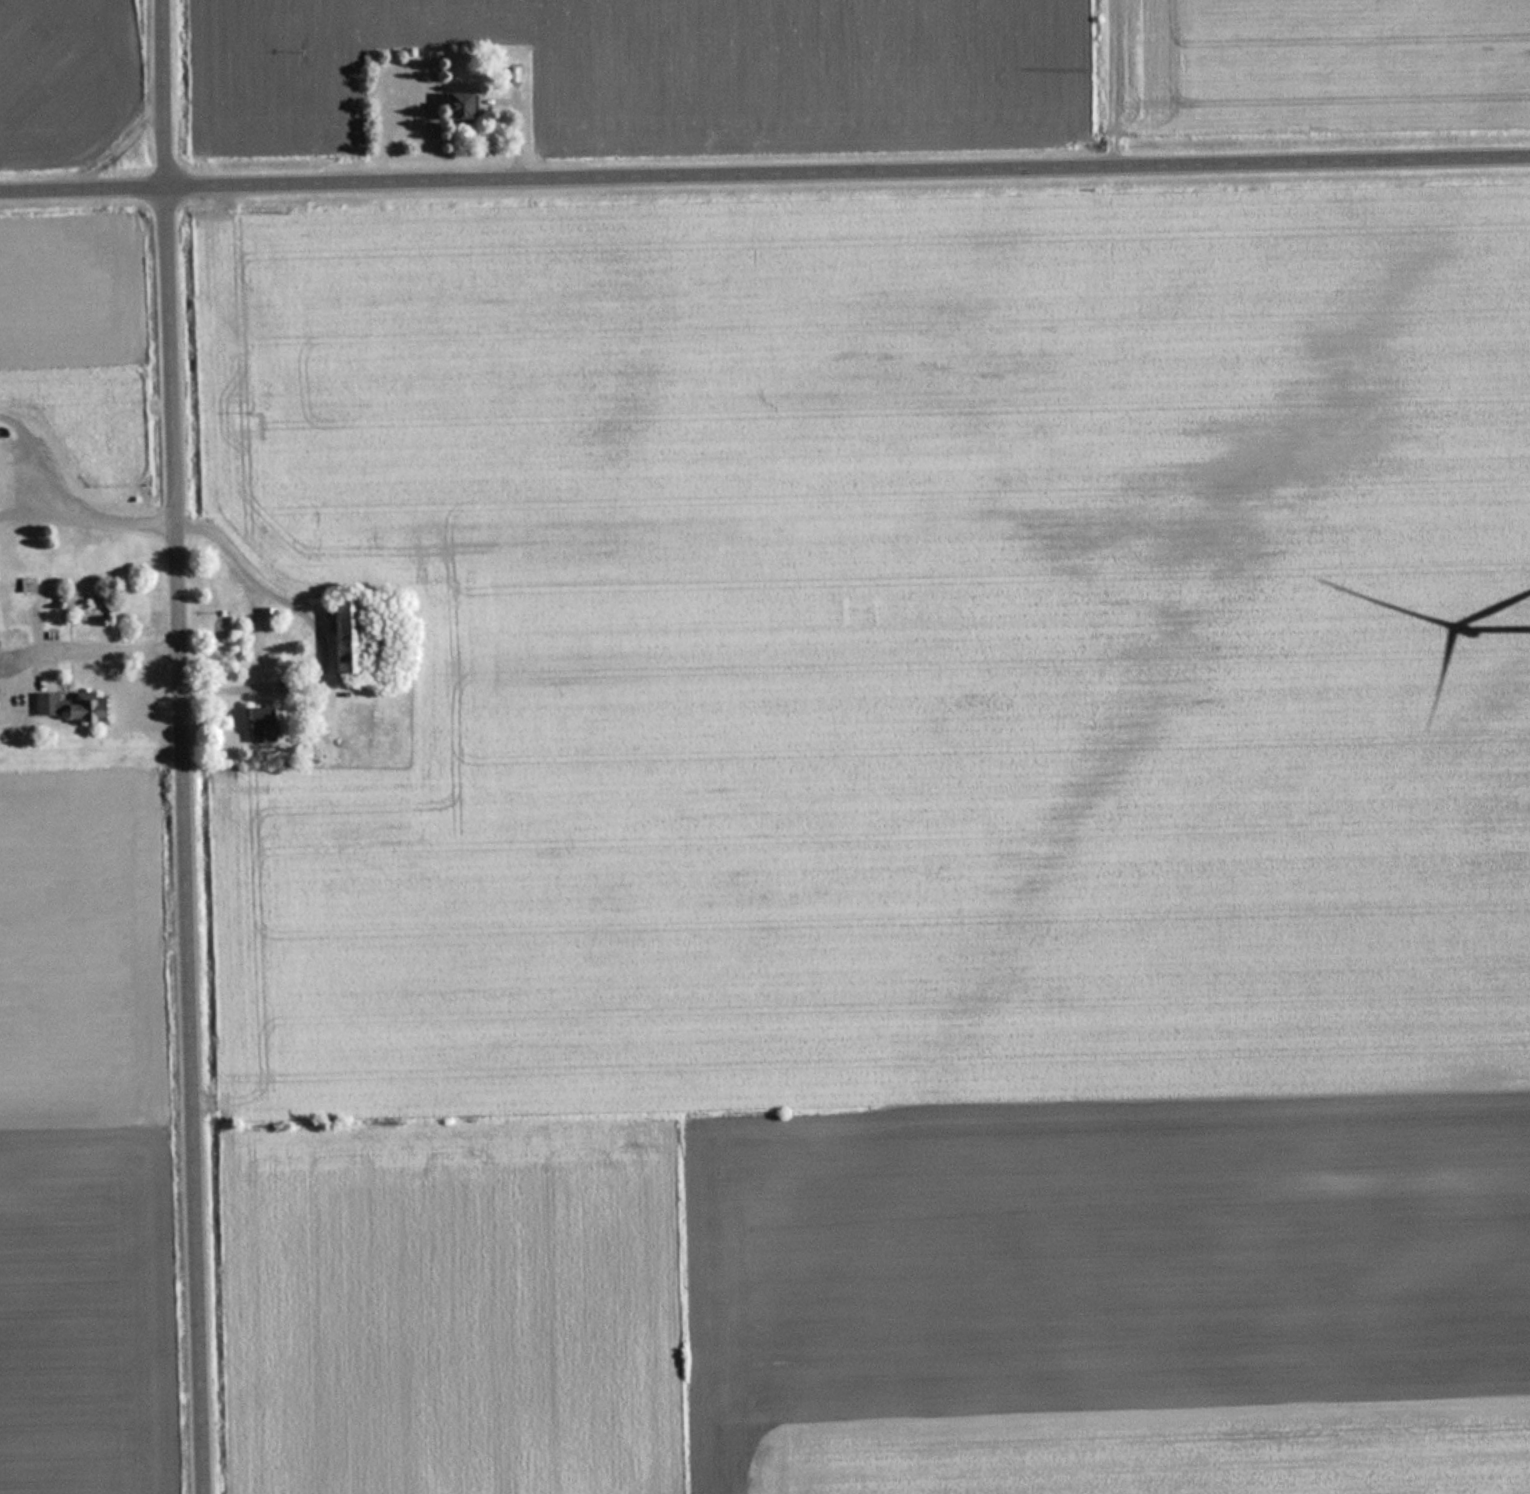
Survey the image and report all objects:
building: (512, 68)
building: (454, 106)
road: (764, 170)
building: (0, 431)
building: (31, 583)
building: (270, 618)
building: (54, 702)
building: (92, 707)
building: (266, 723)
road: (180, 747)

